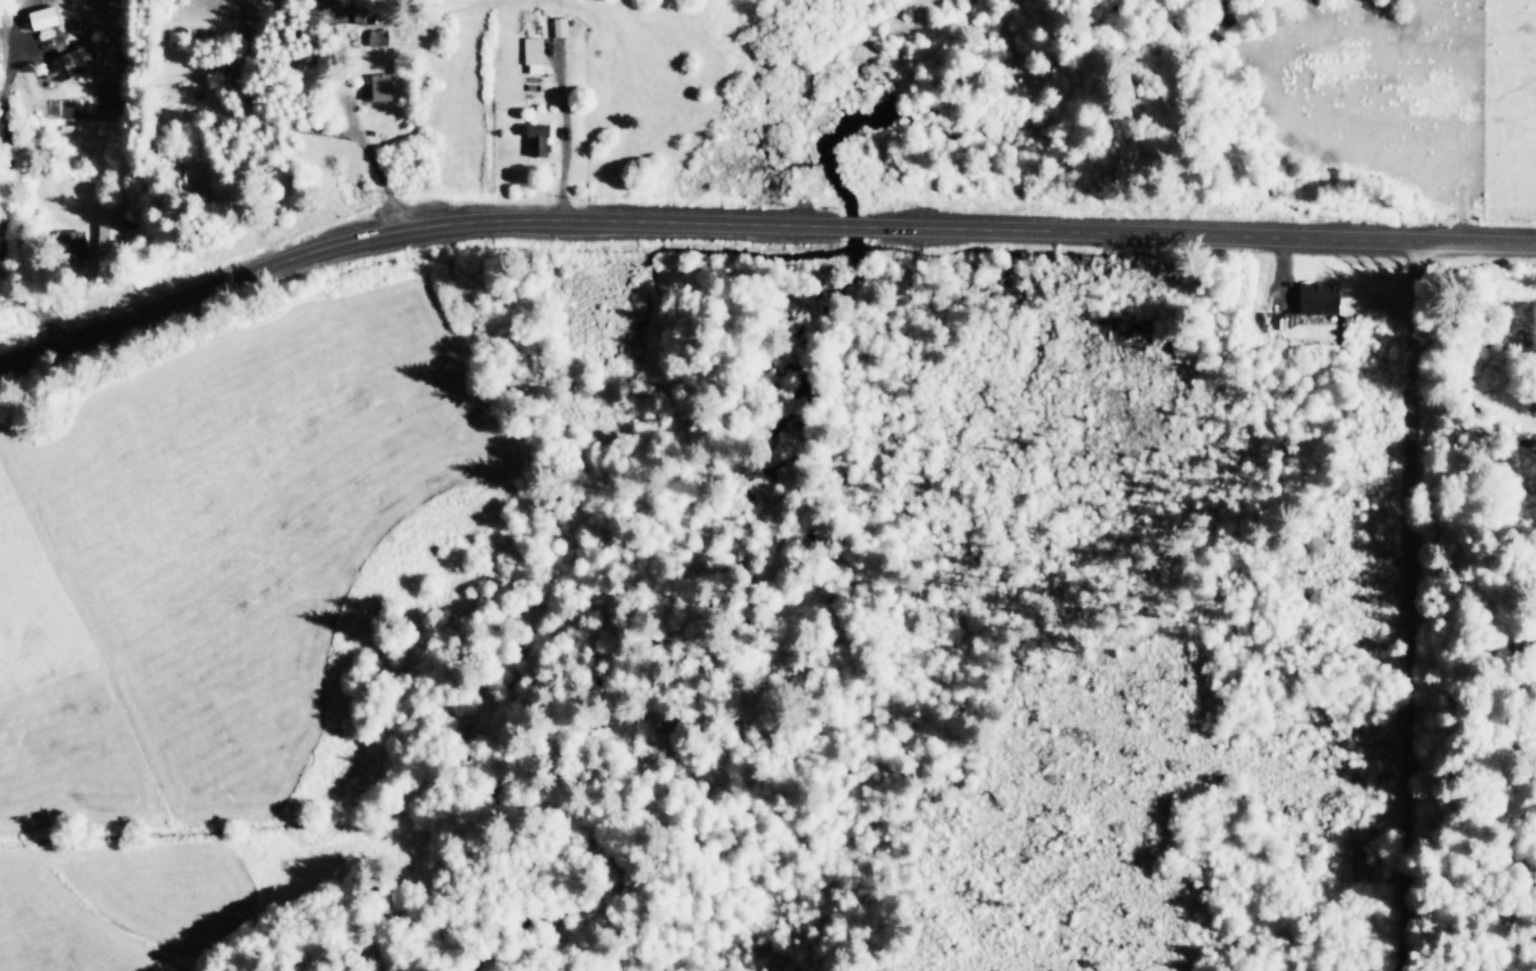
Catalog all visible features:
building: (559, 25)
building: (376, 35)
building: (533, 52)
building: (71, 59)
building: (380, 85)
road: (561, 135)
building: (538, 137)
road: (372, 158)
road: (755, 223)
building: (109, 233)
building: (75, 243)
building: (1319, 296)
road: (1437, 602)
crop: (204, 614)

